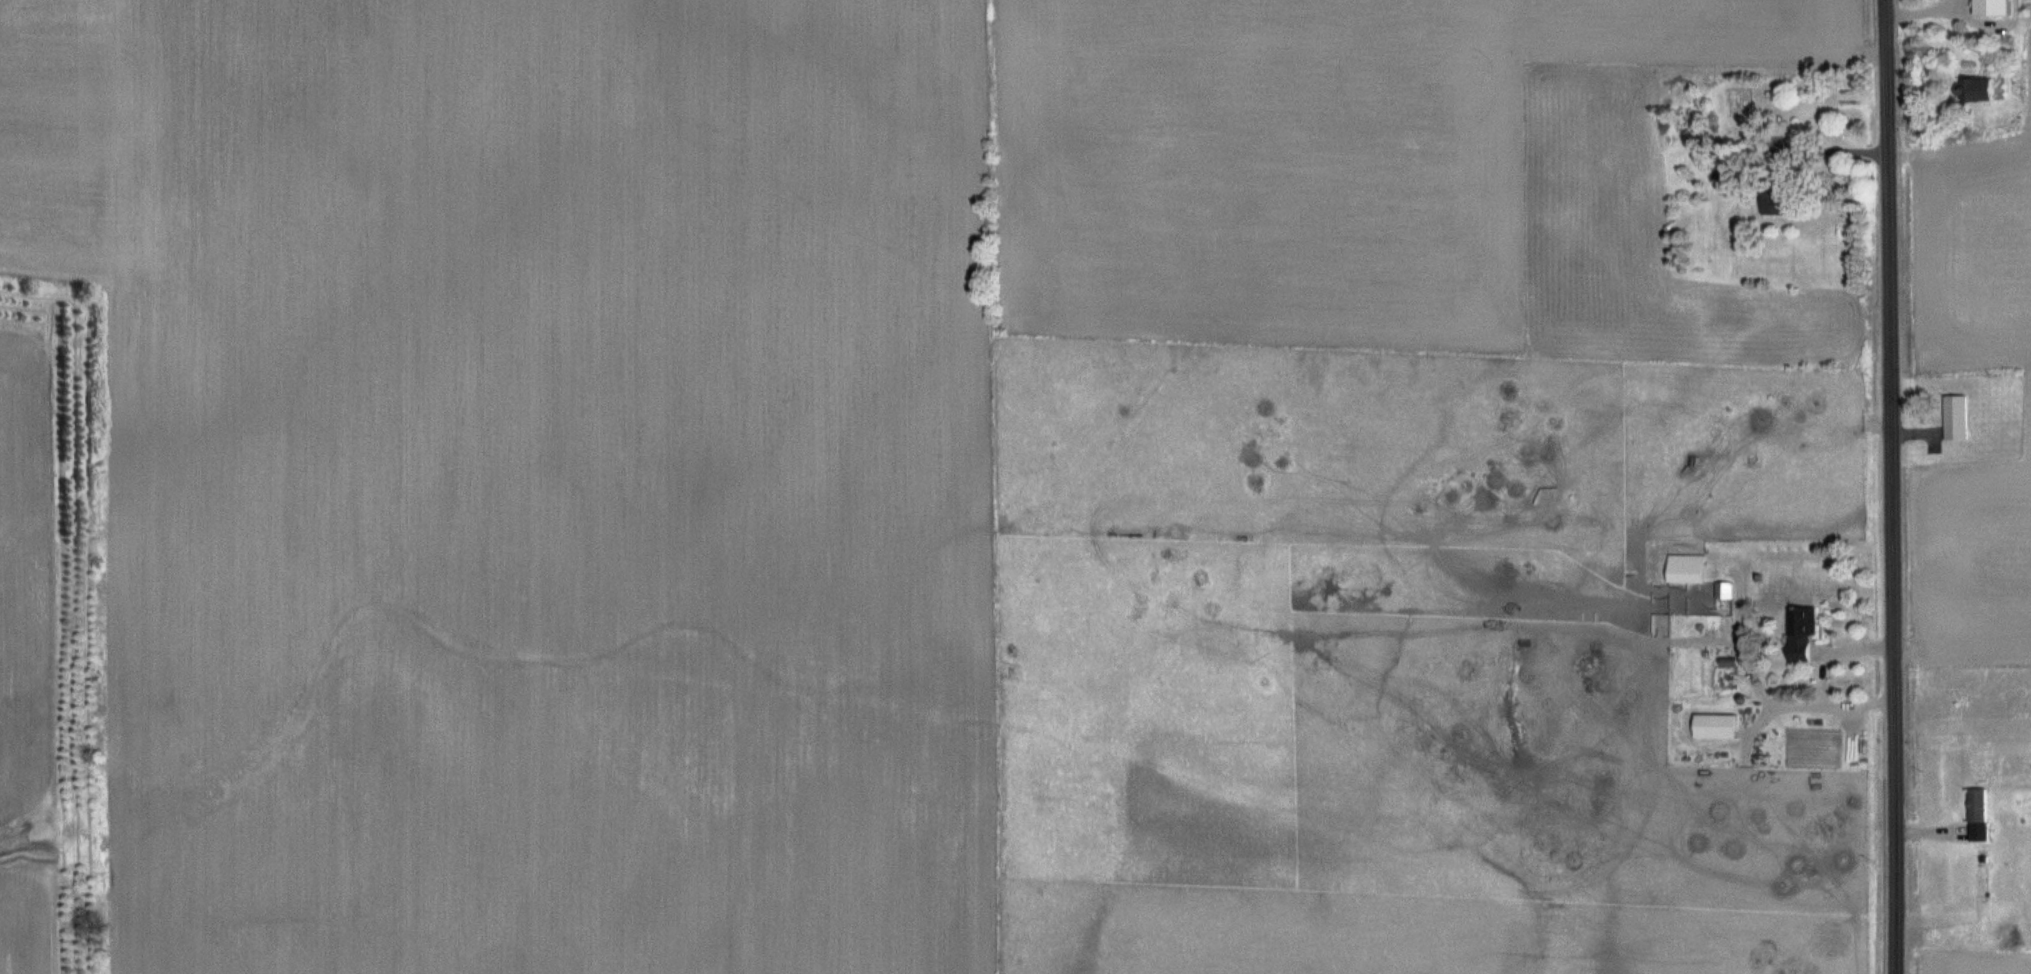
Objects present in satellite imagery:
building: (1992, 9)
building: (1981, 91)
road: (1834, 150)
building: (1730, 165)
building: (1778, 200)
building: (1956, 418)
road: (1892, 486)
building: (1687, 569)
building: (1801, 632)
building: (1717, 726)
building: (1978, 806)

